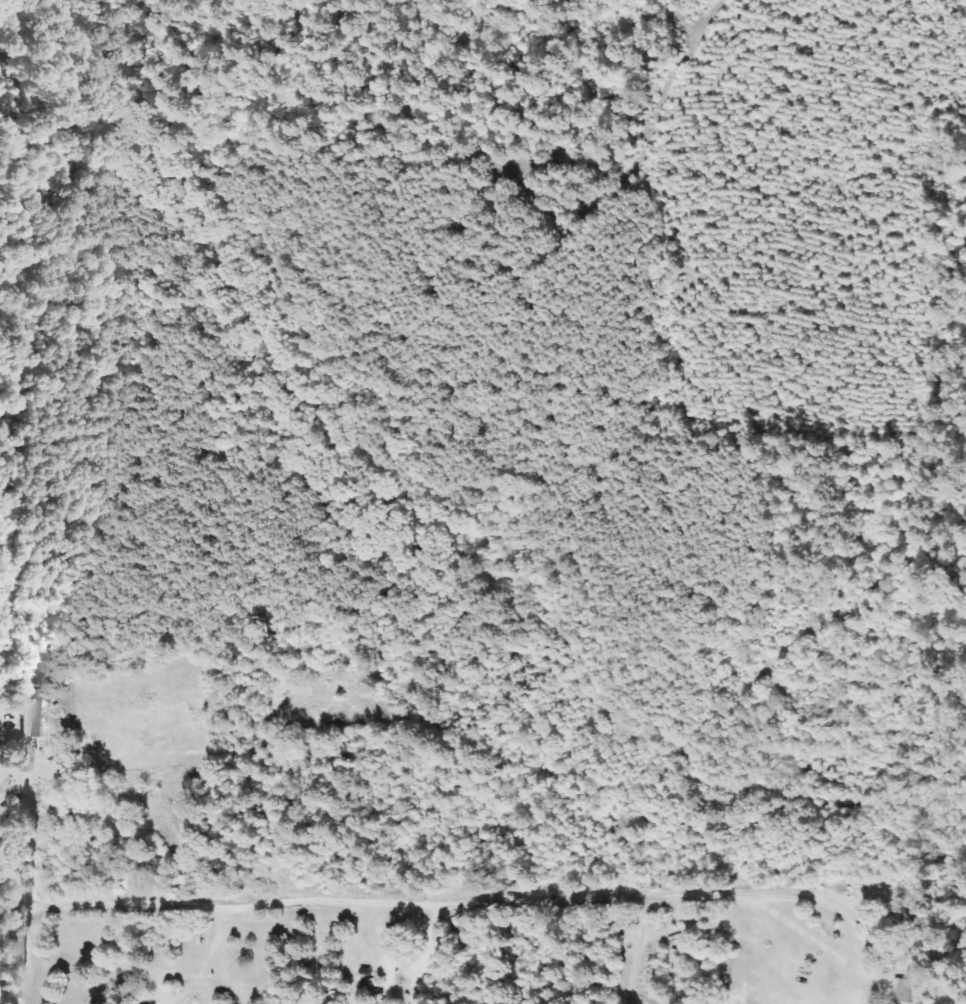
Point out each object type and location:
building: (32, 717)
road: (627, 970)
building: (903, 991)

